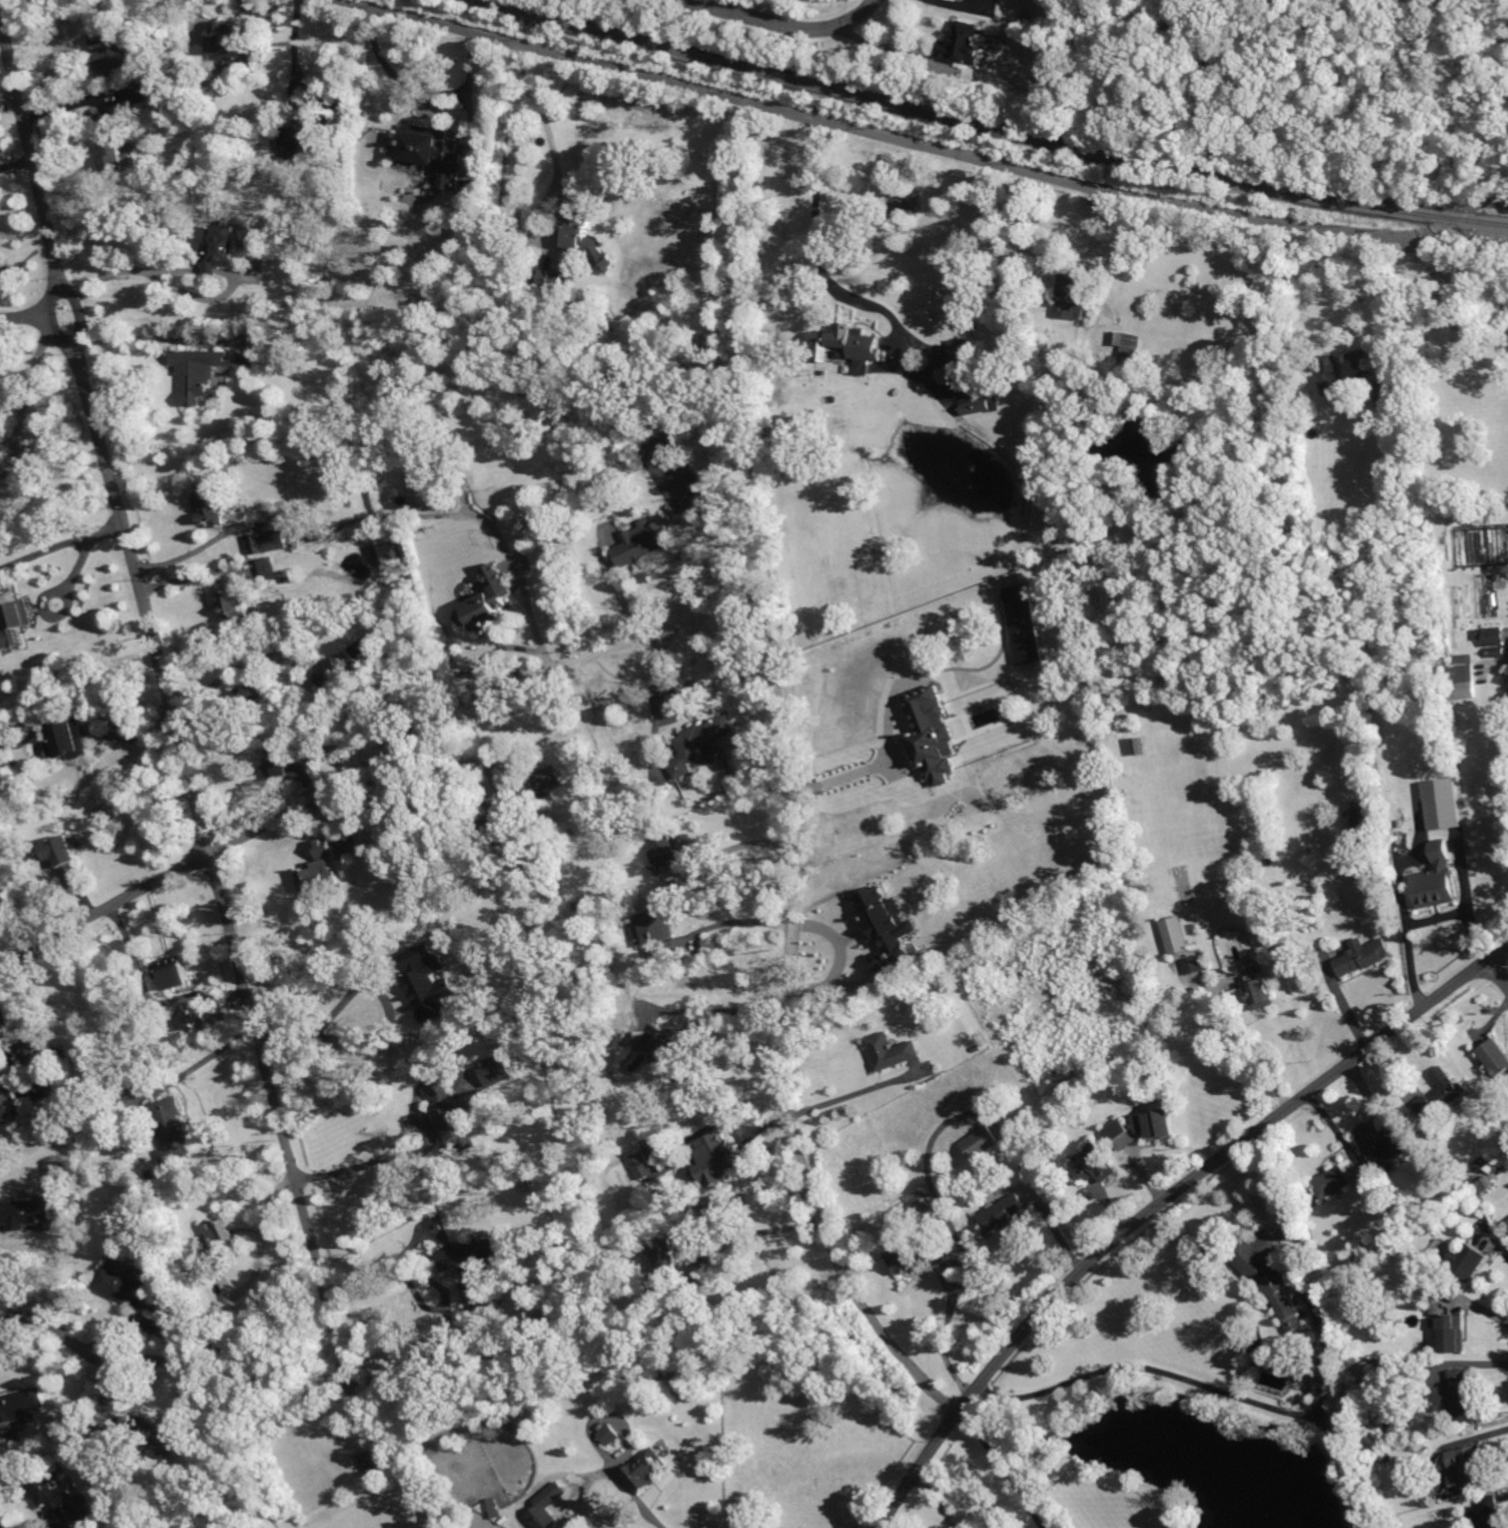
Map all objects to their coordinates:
road: (787, 23)
building: (100, 39)
building: (965, 43)
building: (243, 51)
building: (115, 58)
road: (295, 59)
park: (1312, 79)
road: (418, 91)
road: (10, 97)
railway: (981, 125)
road: (899, 136)
building: (298, 138)
building: (116, 146)
building: (435, 153)
road: (18, 162)
road: (554, 165)
road: (1483, 201)
building: (286, 231)
building: (587, 240)
road: (820, 241)
building: (399, 245)
building: (225, 247)
building: (306, 251)
road: (151, 271)
building: (552, 280)
building: (589, 287)
road: (1387, 296)
building: (1074, 298)
road: (35, 316)
building: (538, 316)
road: (146, 338)
building: (396, 342)
building: (848, 345)
building: (1128, 346)
building: (963, 360)
building: (1348, 363)
road: (34, 372)
building: (205, 372)
building: (522, 390)
building: (1397, 403)
building: (982, 406)
building: (1115, 408)
building: (231, 458)
building: (426, 482)
building: (212, 504)
building: (1492, 508)
building: (647, 543)
building: (268, 547)
road: (197, 549)
building: (395, 550)
road: (84, 553)
building: (268, 567)
building: (289, 578)
building: (490, 603)
building: (235, 605)
building: (14, 623)
building: (1027, 623)
building: (1492, 636)
road: (494, 649)
building: (1499, 652)
building: (333, 671)
road: (235, 672)
building: (1464, 675)
building: (255, 694)
road: (661, 696)
road: (173, 706)
road: (95, 729)
building: (933, 734)
road: (152, 735)
building: (71, 739)
building: (703, 745)
building: (1140, 746)
building: (287, 762)
road: (375, 762)
road: (851, 773)
building: (535, 784)
building: (507, 796)
building: (1442, 803)
building: (529, 804)
building: (495, 822)
building: (1365, 826)
road: (750, 843)
building: (498, 844)
building: (667, 849)
building: (65, 859)
building: (319, 867)
building: (1437, 879)
building: (887, 922)
road: (806, 925)
building: (367, 928)
building: (655, 930)
building: (508, 931)
building: (1177, 936)
building: (1250, 937)
road: (1409, 951)
building: (1285, 952)
building: (1363, 957)
building: (1196, 965)
road: (1499, 969)
building: (574, 970)
building: (172, 973)
building: (426, 984)
building: (1260, 992)
road: (1346, 1003)
road: (725, 1010)
road: (786, 1018)
building: (189, 1019)
road: (315, 1037)
building: (618, 1038)
road: (1253, 1045)
building: (979, 1046)
building: (893, 1050)
building: (670, 1052)
building: (1495, 1057)
road: (208, 1059)
building: (40, 1062)
building: (498, 1070)
building: (0, 1083)
building: (130, 1091)
road: (859, 1091)
building: (1440, 1095)
building: (4, 1113)
building: (451, 1118)
building: (1158, 1121)
building: (1005, 1124)
building: (174, 1127)
building: (1121, 1135)
building: (982, 1143)
building: (1381, 1145)
building: (715, 1160)
building: (1482, 1161)
building: (640, 1163)
building: (1098, 1164)
road: (359, 1166)
building: (1044, 1176)
building: (1338, 1180)
building: (1484, 1185)
building: (1053, 1192)
building: (1464, 1197)
road: (1163, 1203)
building: (28, 1211)
building: (1411, 1212)
building: (1003, 1214)
building: (1507, 1219)
building: (1507, 1223)
road: (765, 1231)
building: (552, 1233)
road: (262, 1239)
building: (221, 1245)
road: (70, 1252)
building: (667, 1254)
building: (913, 1257)
building: (1467, 1262)
building: (478, 1268)
building: (1273, 1276)
building: (1350, 1276)
building: (563, 1279)
building: (126, 1285)
building: (653, 1286)
road: (450, 1304)
building: (1342, 1305)
building: (1450, 1330)
building: (219, 1340)
road: (109, 1353)
building: (1320, 1386)
building: (1456, 1393)
building: (23, 1406)
road: (1294, 1411)
building: (525, 1414)
building: (1396, 1426)
building: (103, 1427)
building: (612, 1433)
building: (154, 1434)
building: (1386, 1458)
building: (373, 1463)
building: (1469, 1464)
building: (649, 1469)
road: (1001, 1470)
road: (616, 1477)
building: (549, 1485)
building: (54, 1495)
road: (937, 1499)
building: (549, 1507)
building: (497, 1508)
building: (1470, 1509)
building: (1492, 1512)
building: (1398, 1521)
road: (0, 1526)

